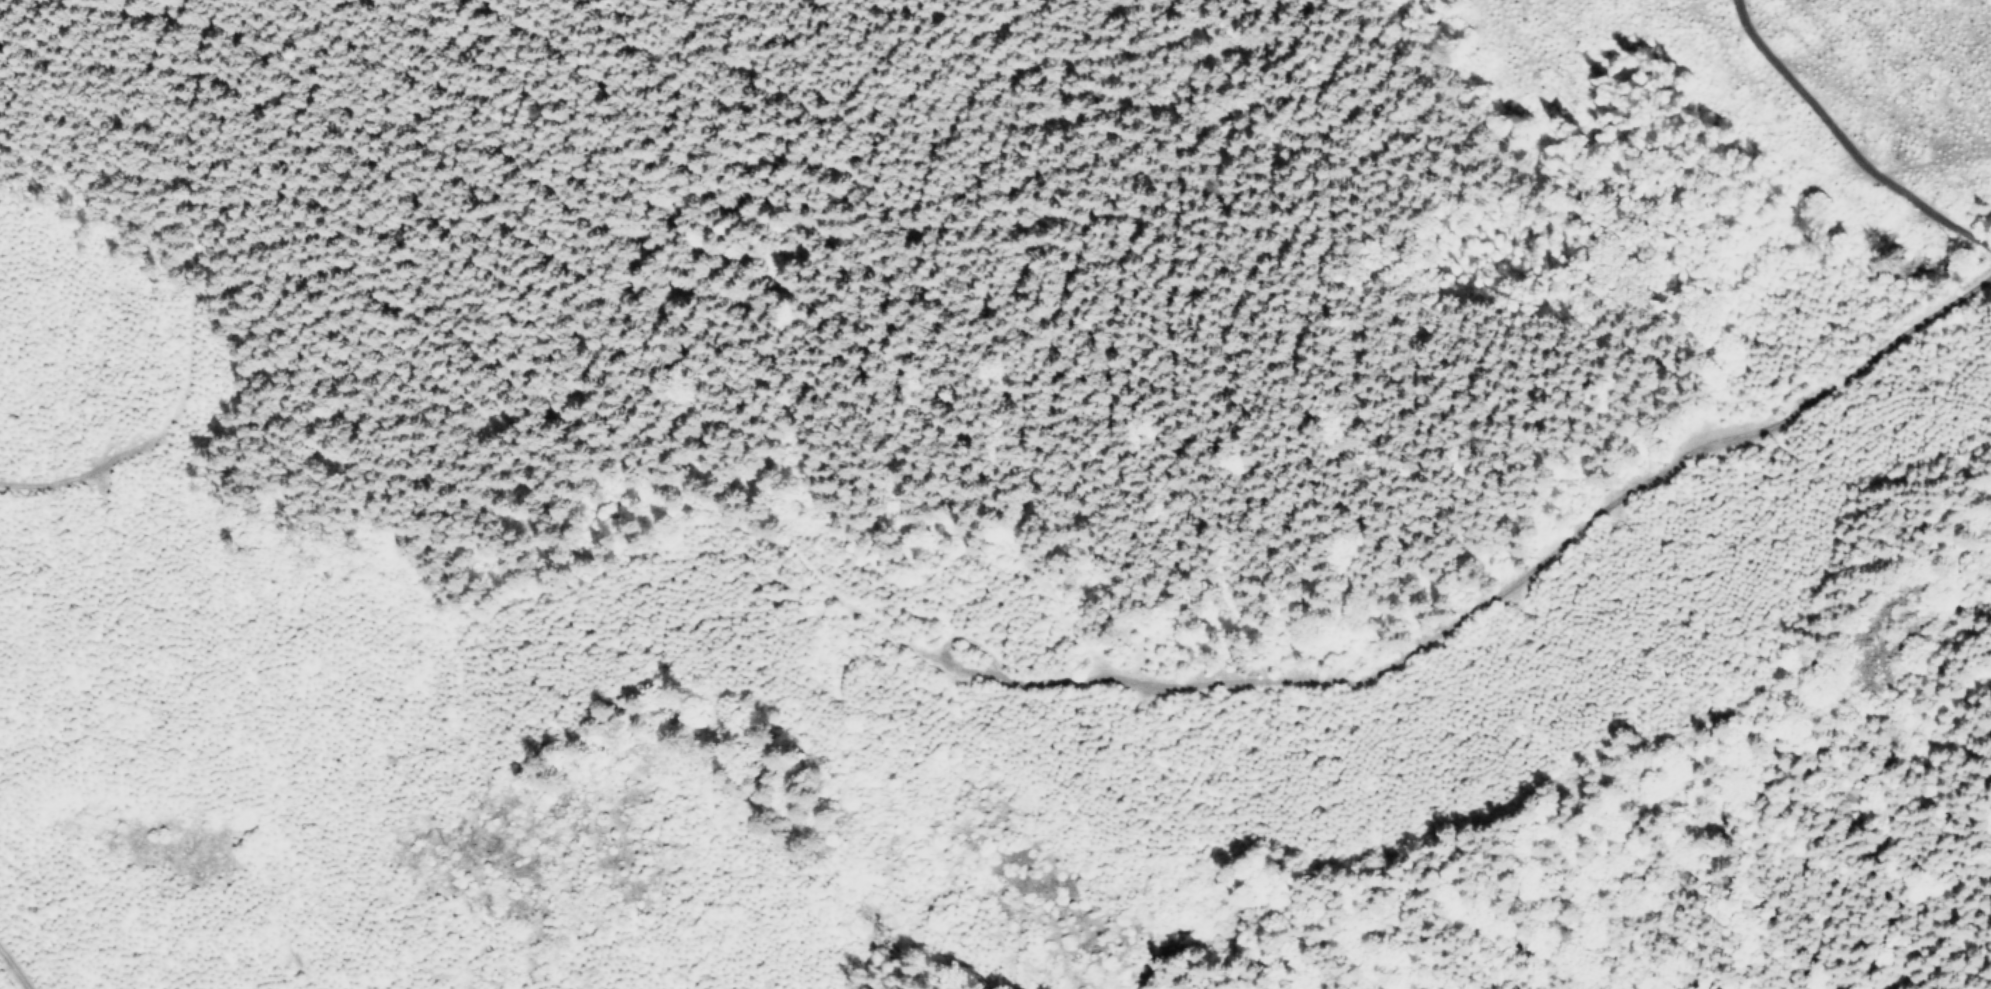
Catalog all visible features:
road: (1846, 140)

